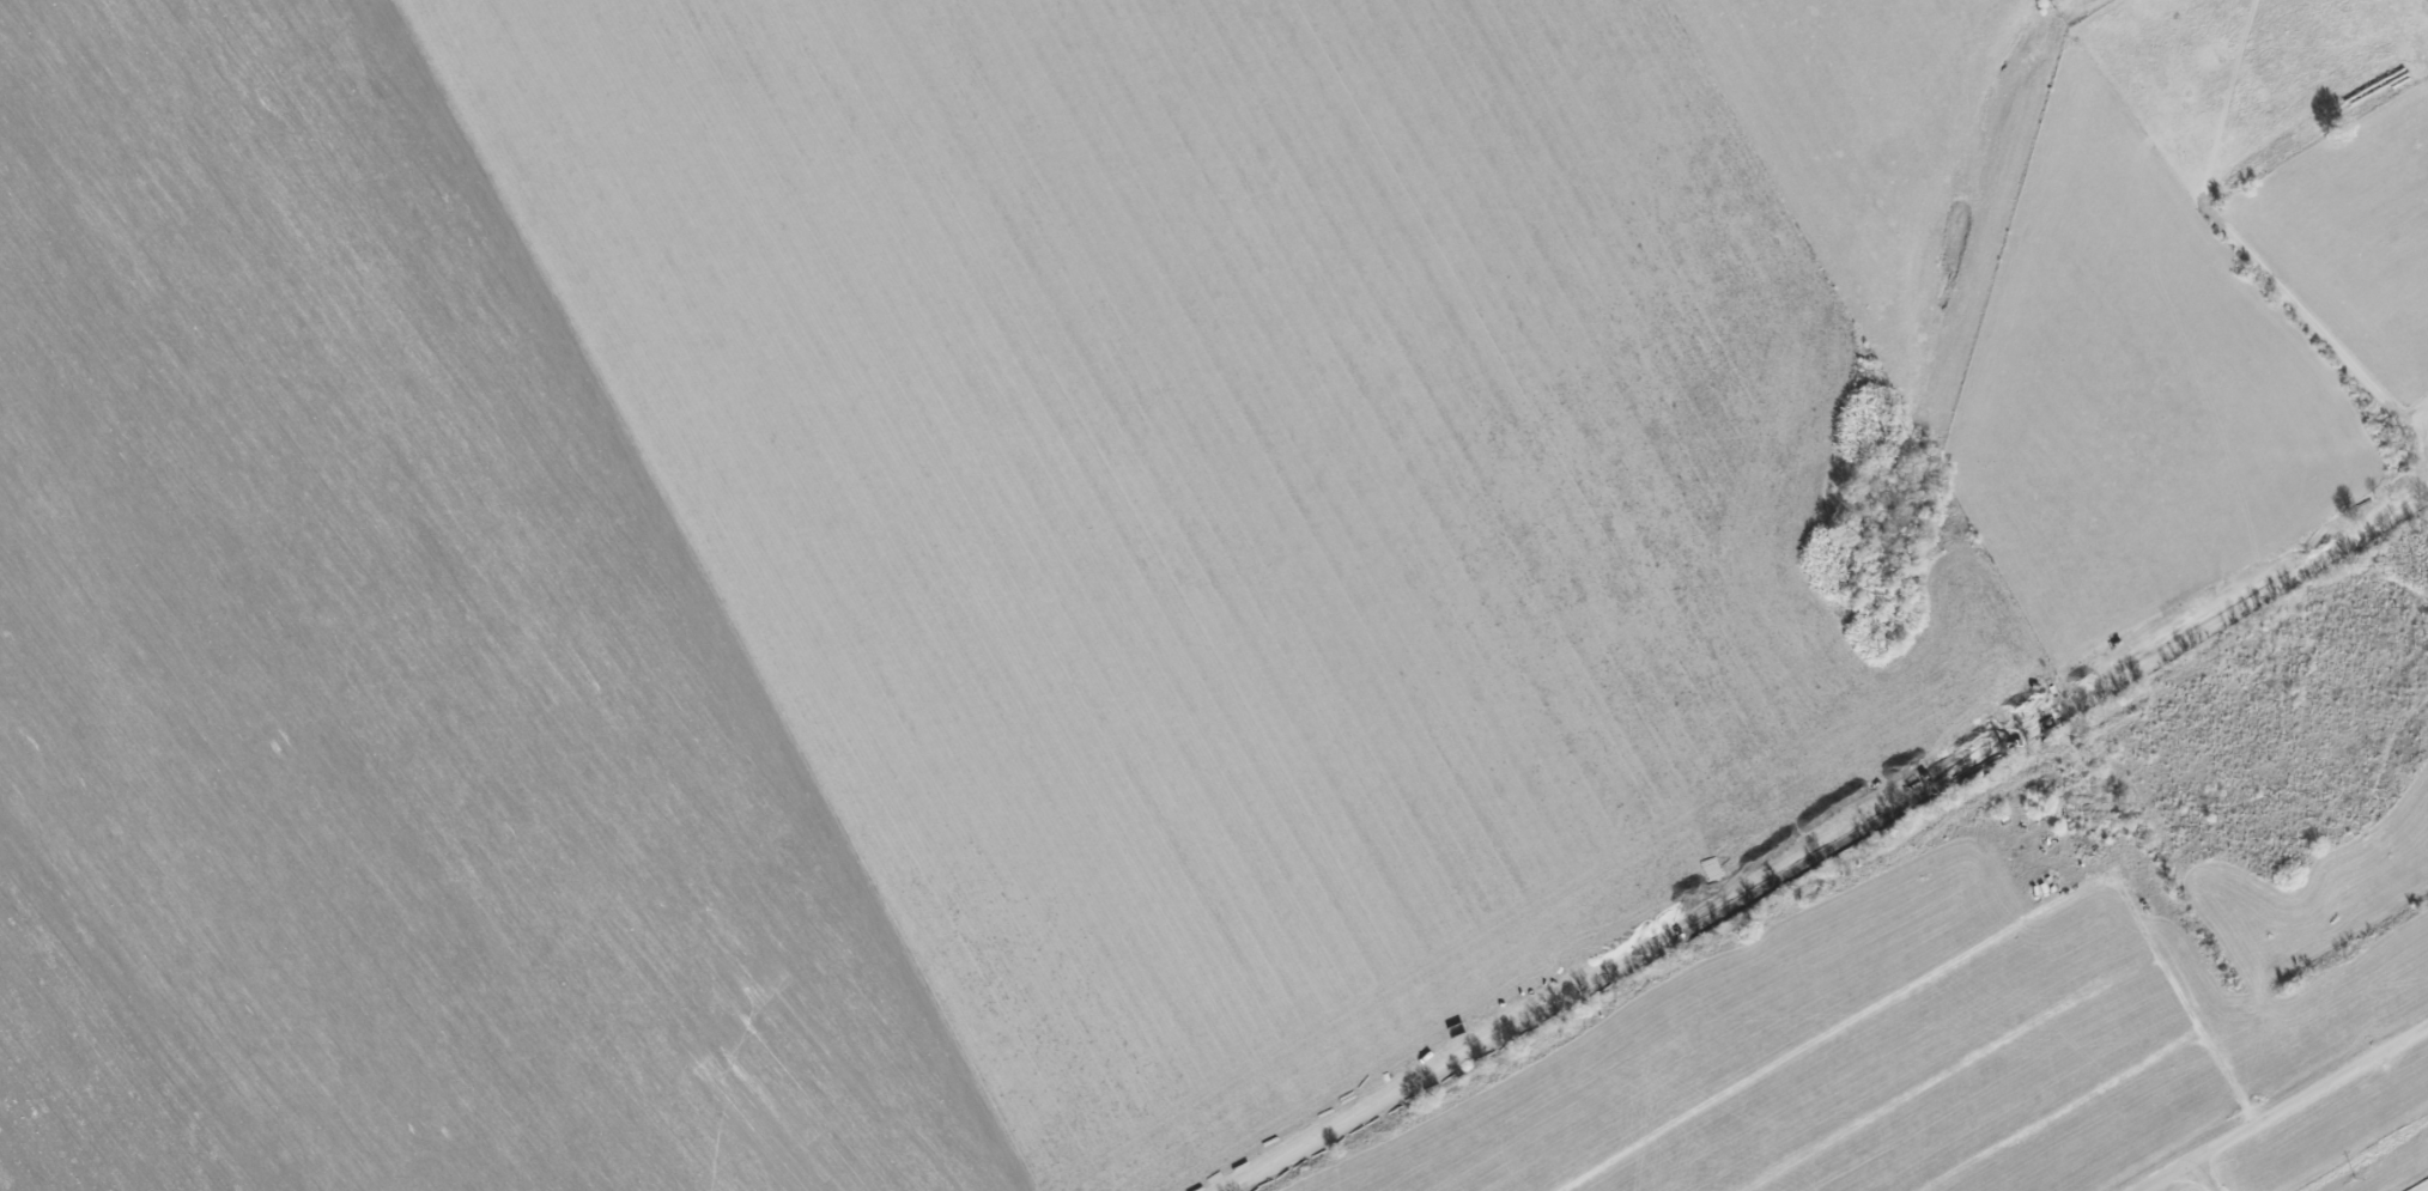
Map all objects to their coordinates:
road: (1959, 960)
road: (1947, 1072)
road: (2283, 1107)
road: (2058, 1113)
road: (2208, 1174)

